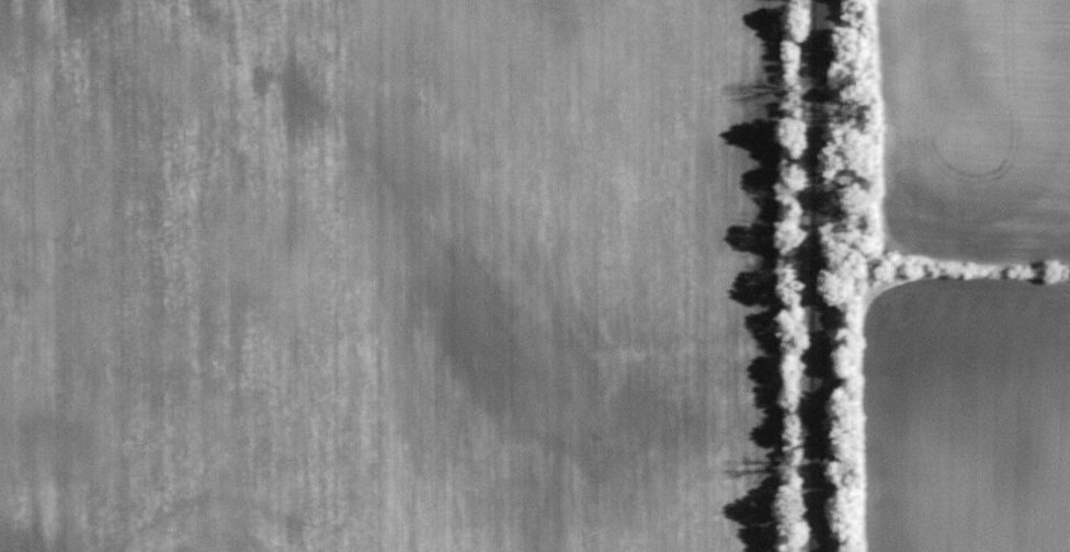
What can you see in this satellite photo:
railway: (816, 276)

